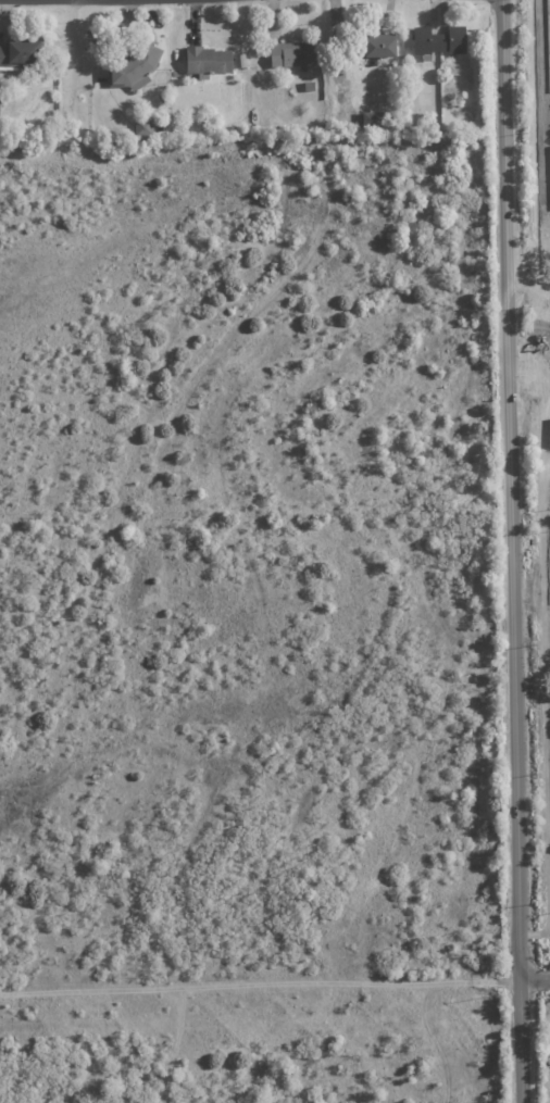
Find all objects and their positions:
building: (439, 40)
building: (380, 45)
building: (20, 55)
building: (292, 55)
building: (208, 62)
building: (136, 70)
building: (310, 86)
building: (373, 121)
building: (143, 128)
building: (48, 137)
road: (535, 181)
road: (528, 343)
road: (529, 378)
road: (511, 551)
road: (545, 672)
road: (534, 977)

